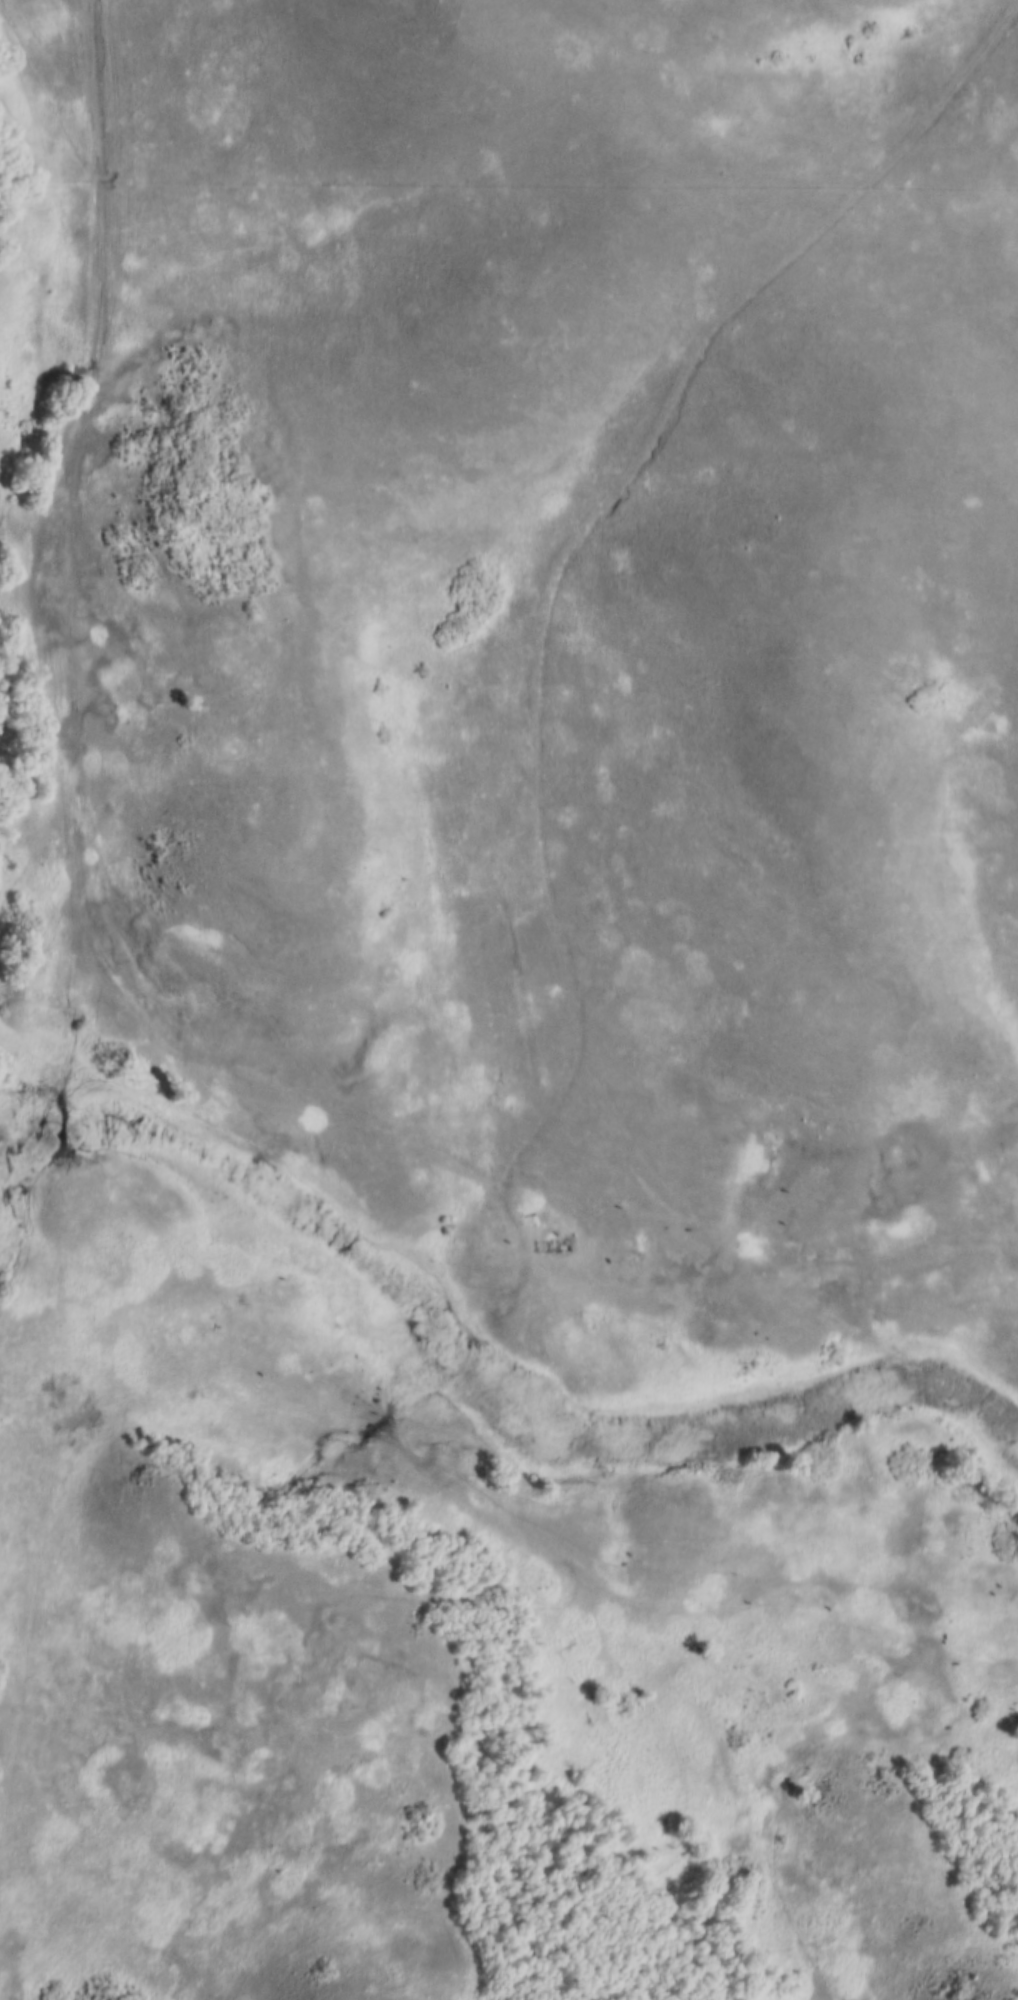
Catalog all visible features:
building: (553, 1246)

